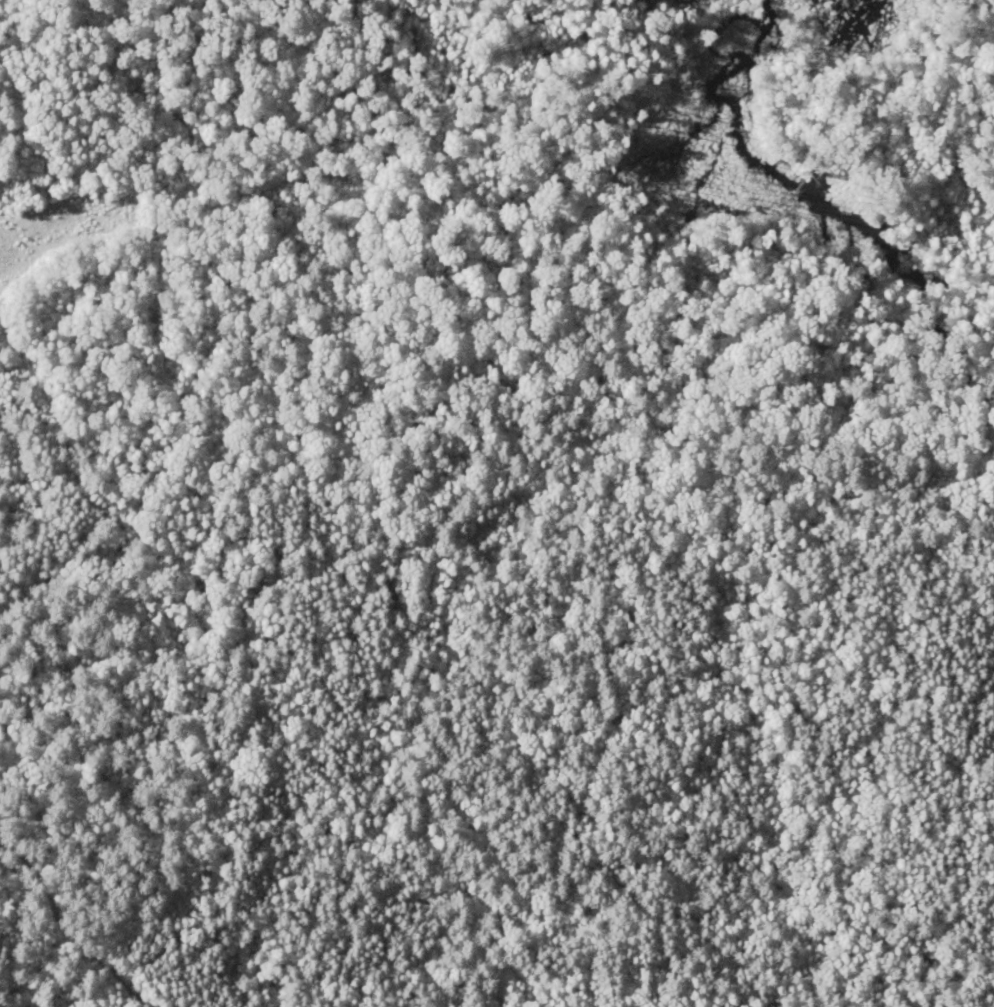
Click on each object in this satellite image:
road: (77, 951)

